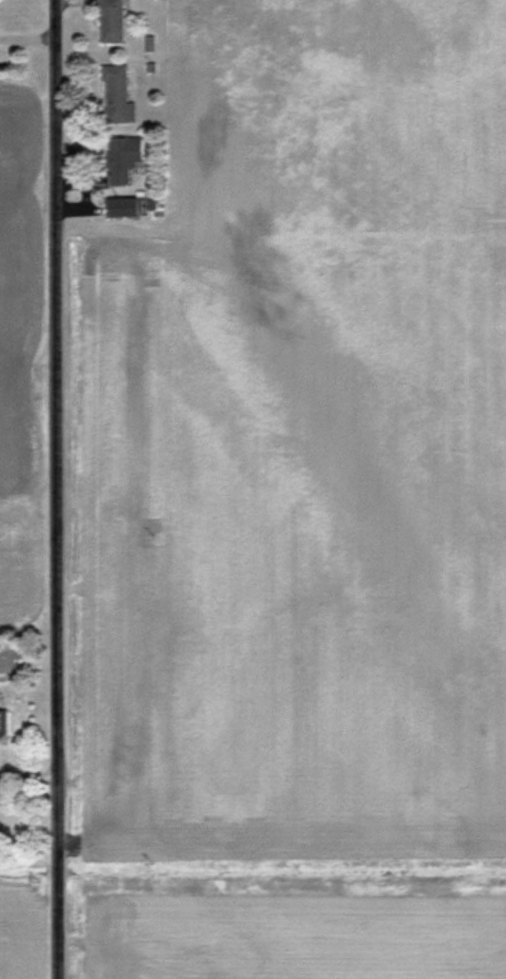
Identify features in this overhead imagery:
building: (115, 20)
building: (119, 93)
building: (125, 157)
building: (129, 206)
road: (56, 489)
building: (5, 725)
building: (10, 820)

